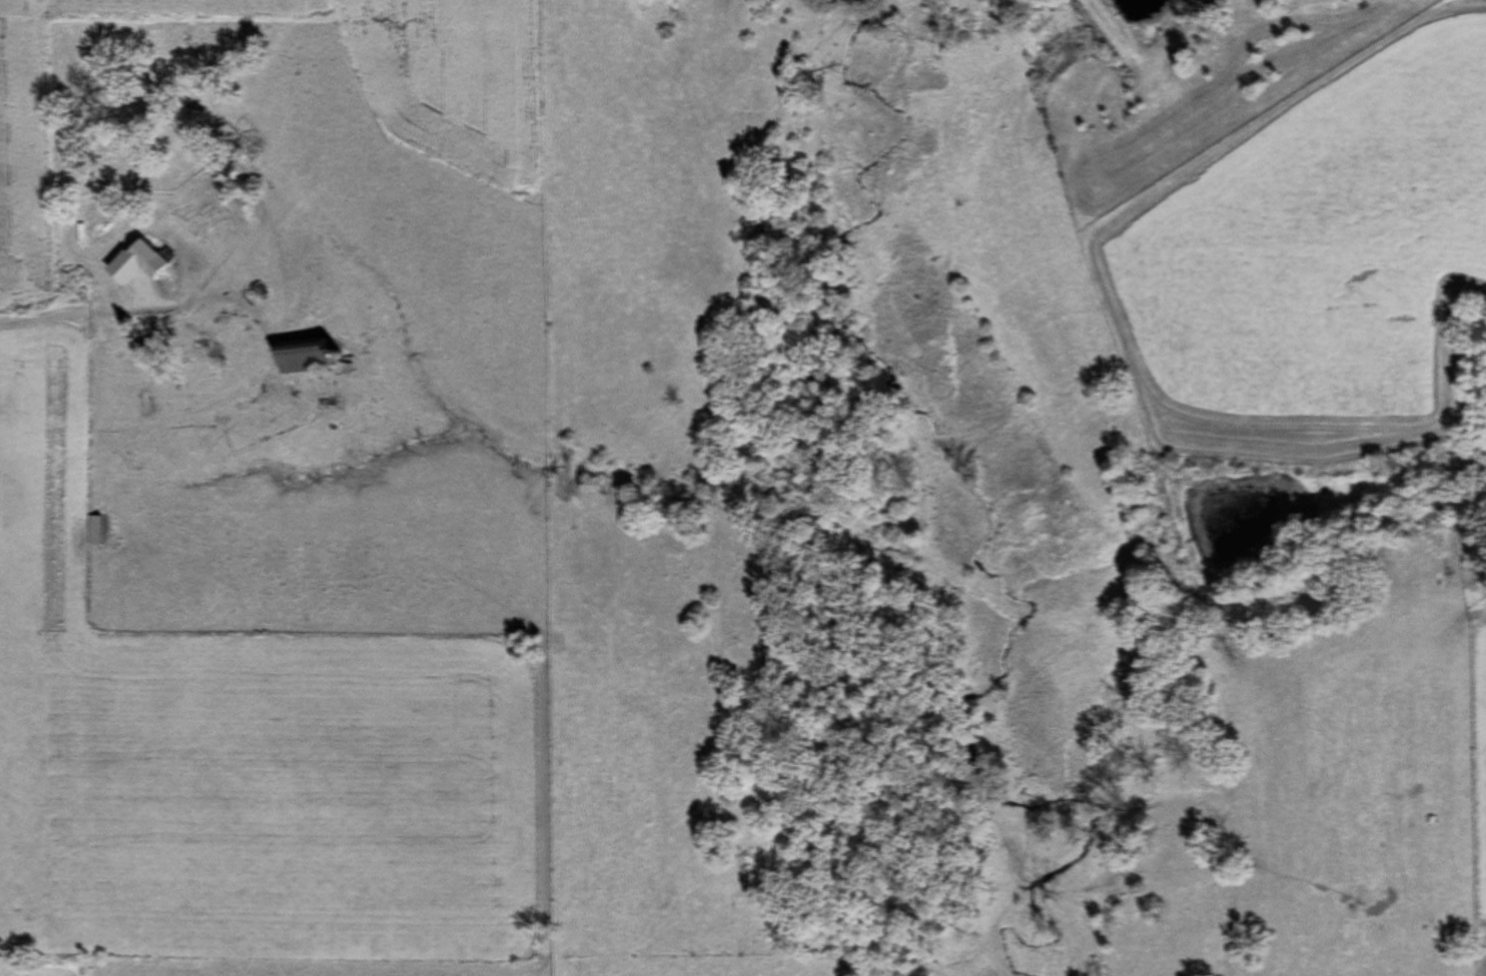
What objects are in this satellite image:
road: (84, 320)
building: (300, 358)
building: (95, 532)

